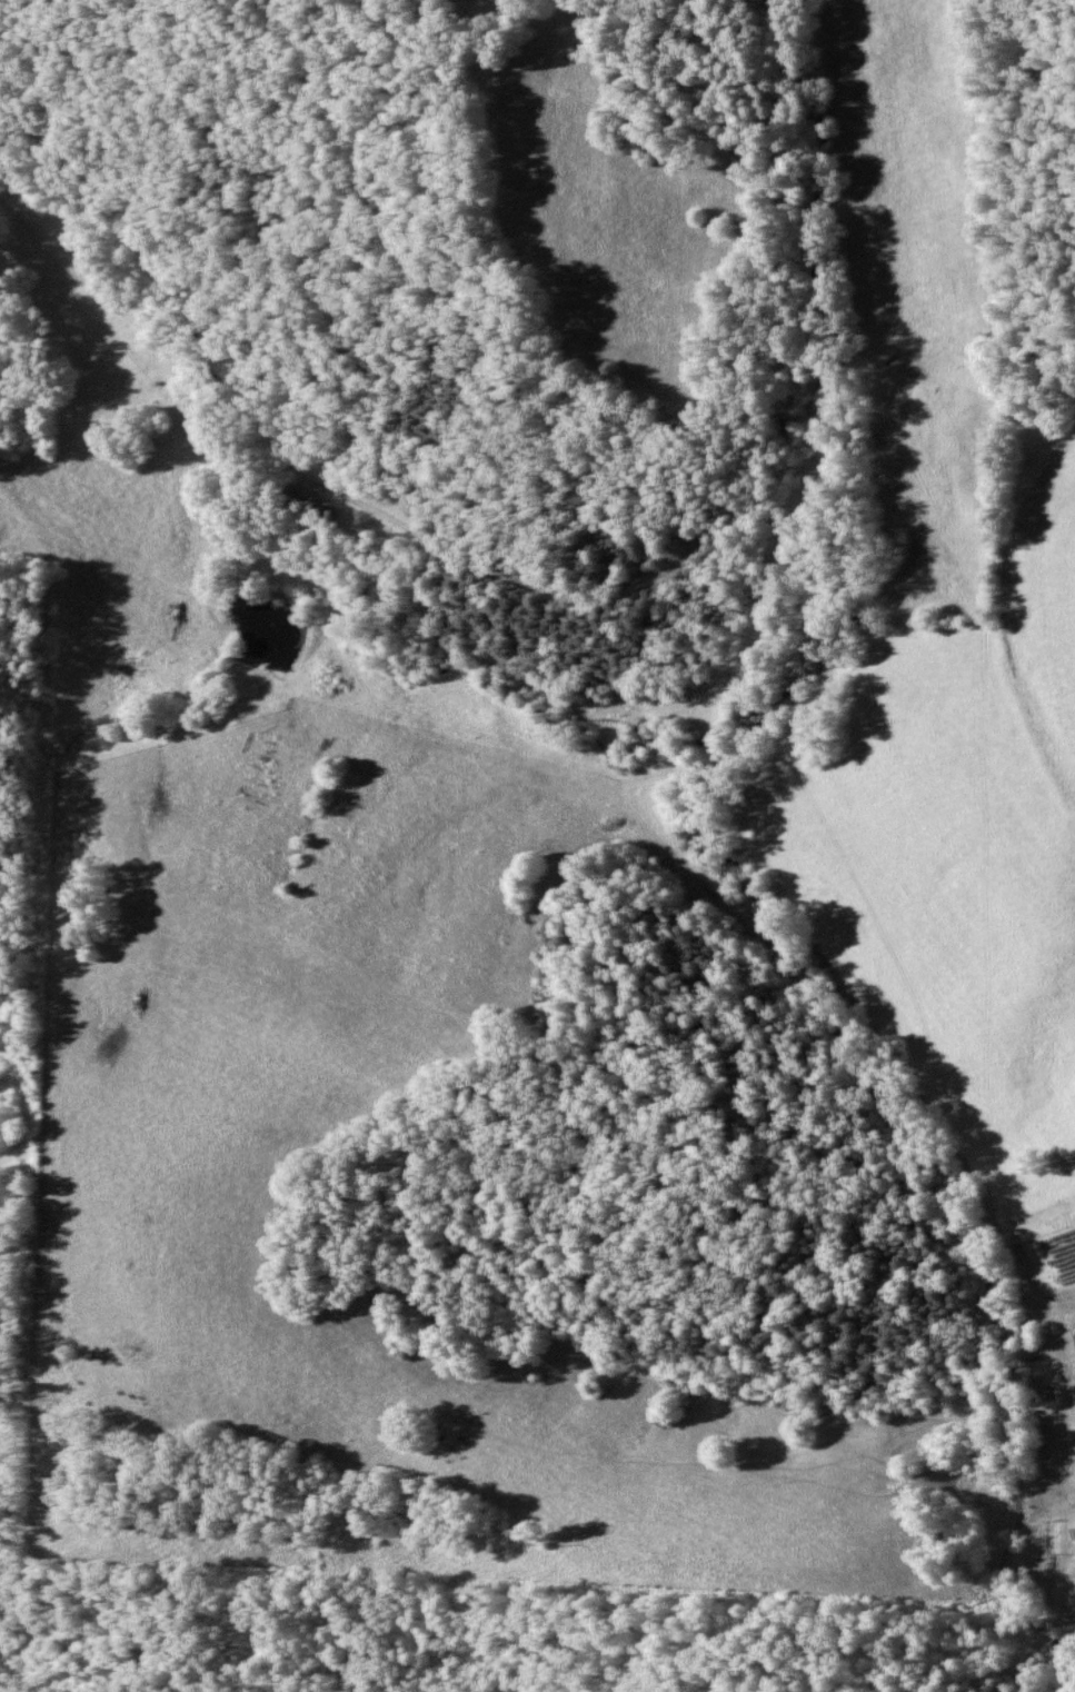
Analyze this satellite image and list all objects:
building: (1074, 1512)
road: (1032, 1641)

